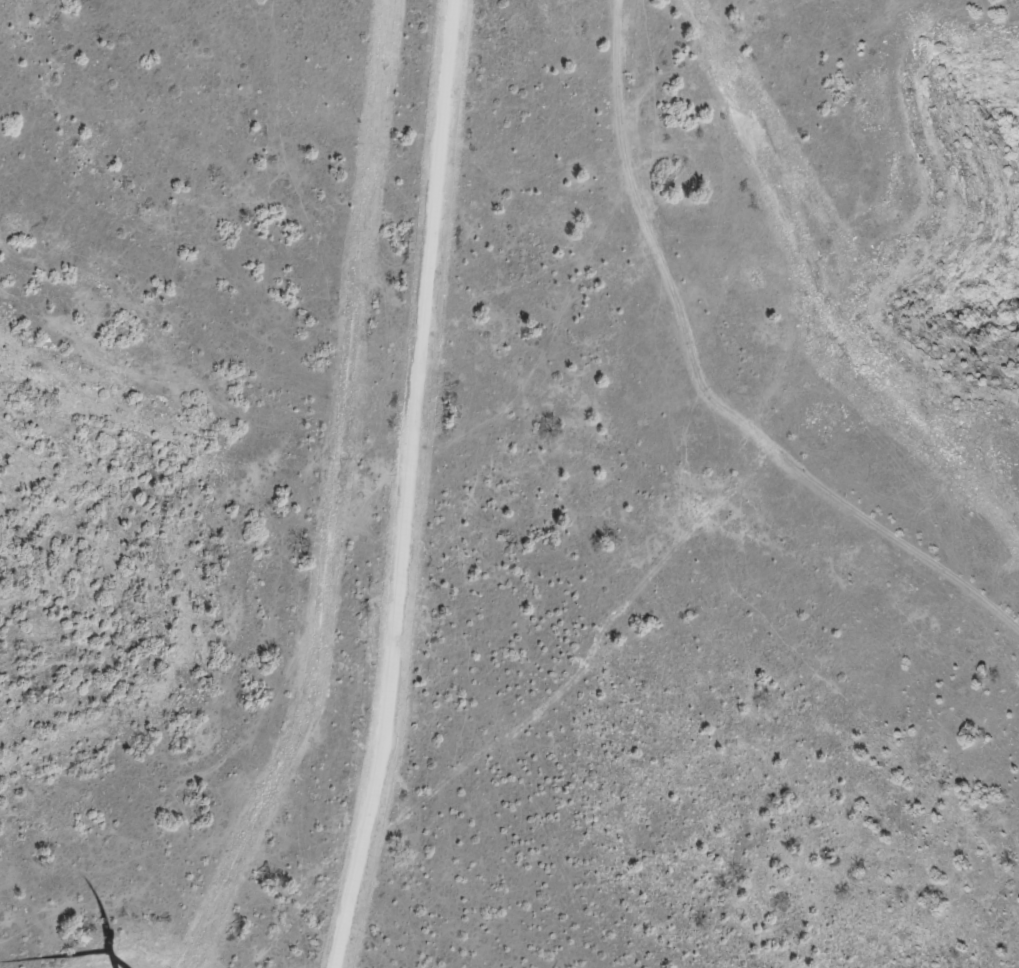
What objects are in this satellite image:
road: (729, 389)

